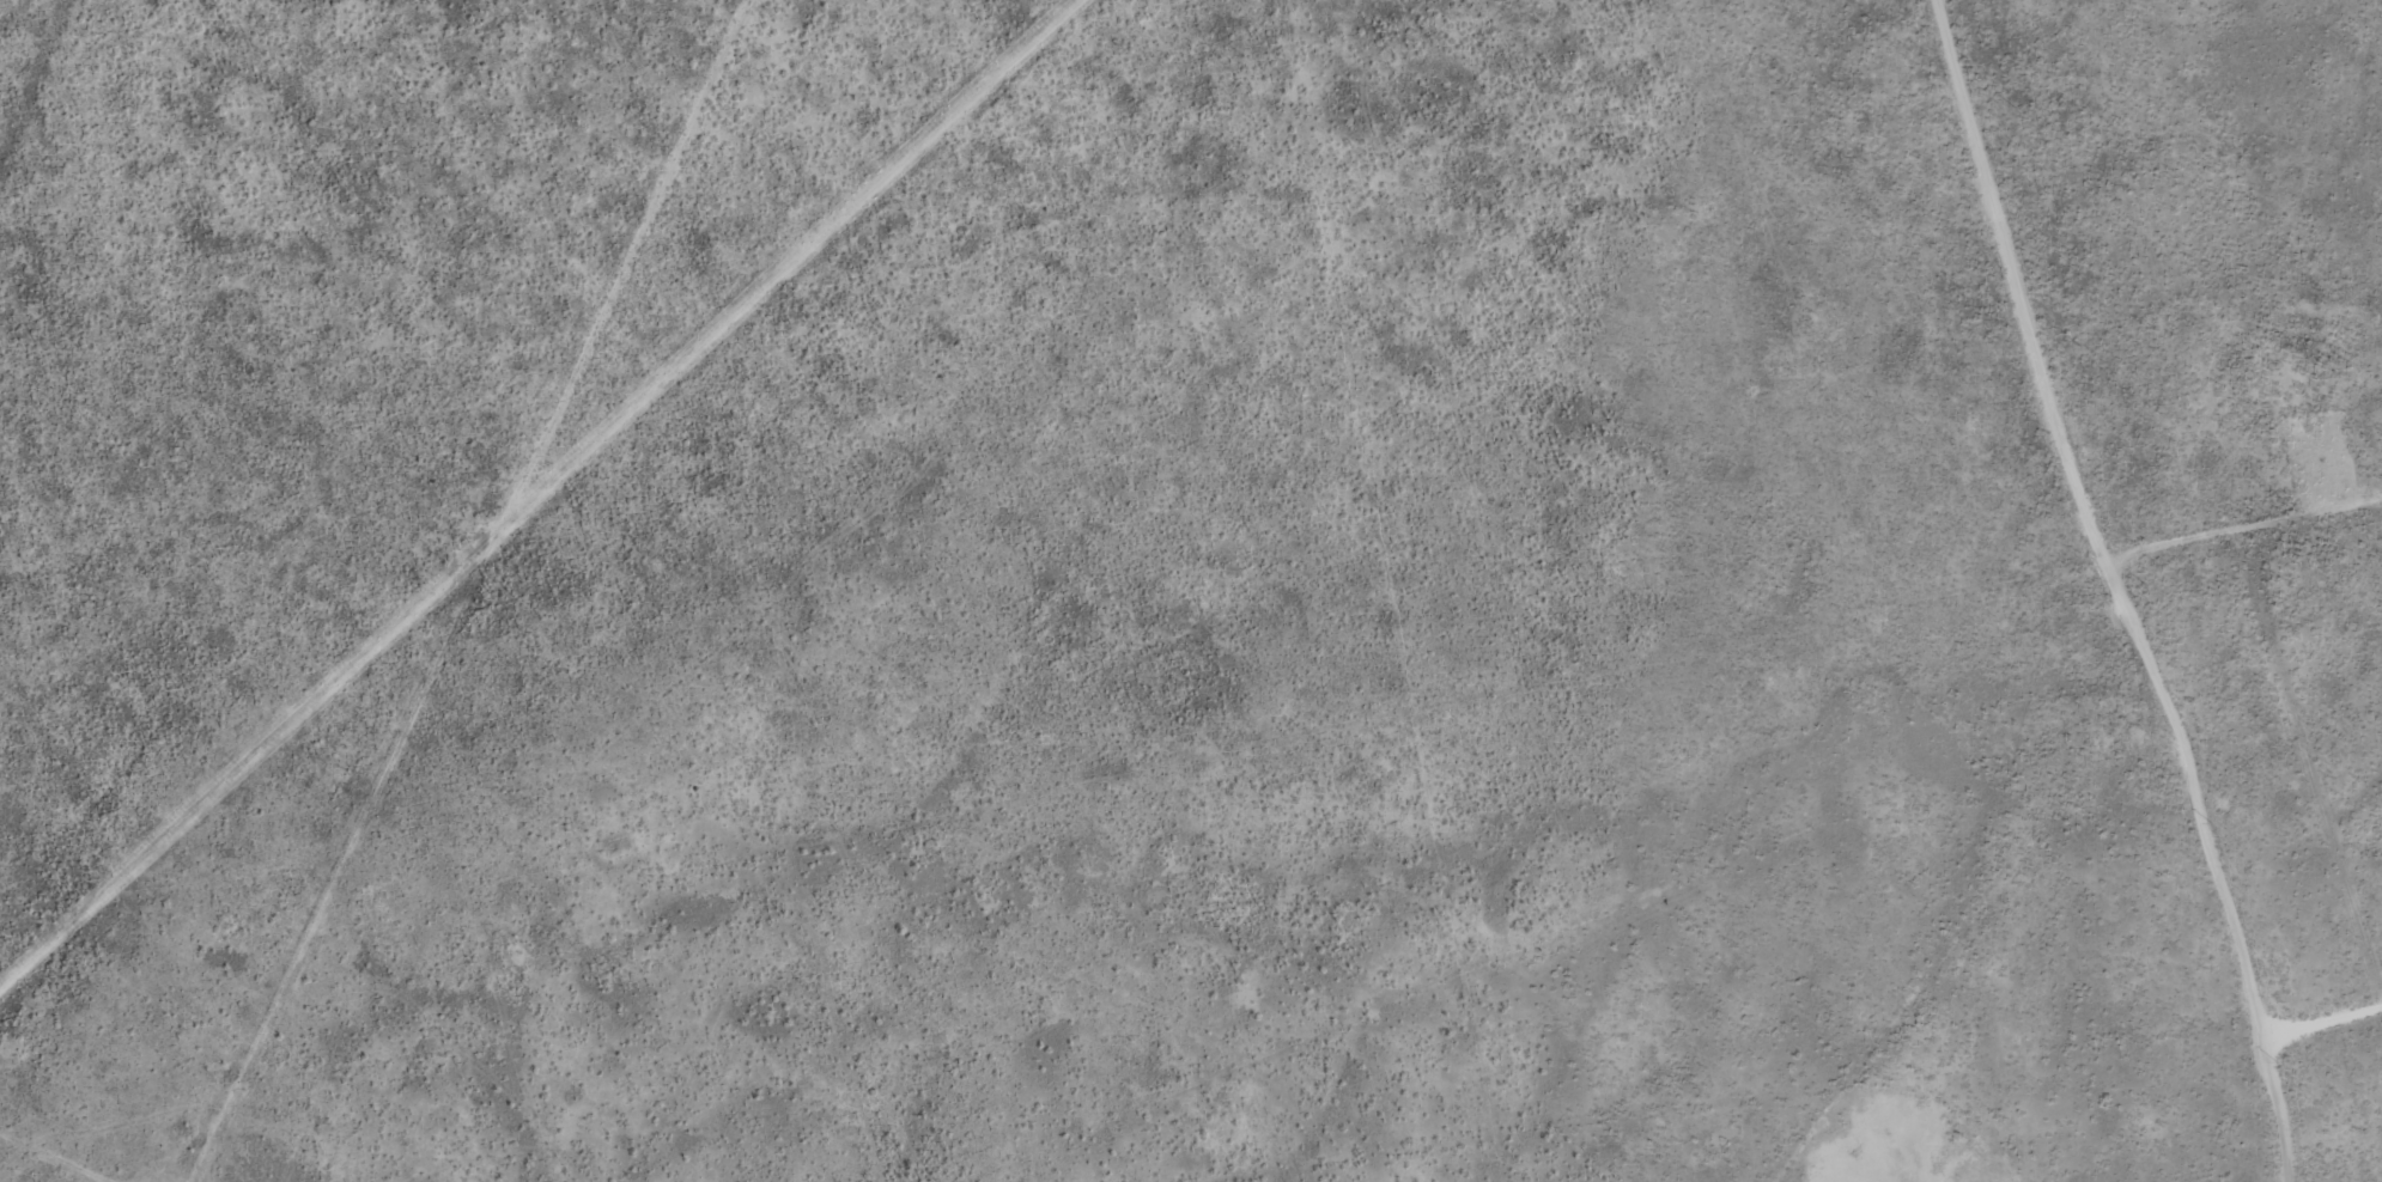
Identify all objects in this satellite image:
road: (2122, 590)

